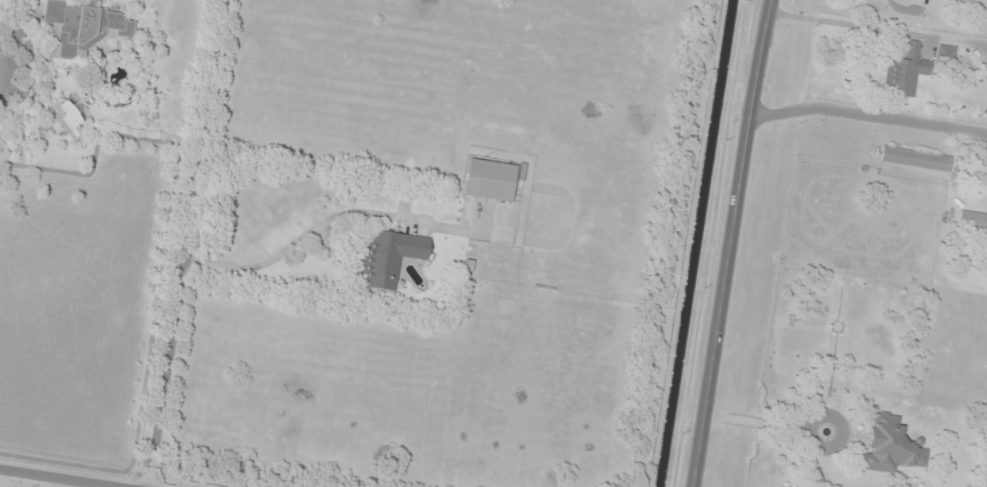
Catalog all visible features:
building: (84, 28)
building: (946, 54)
building: (906, 73)
building: (68, 118)
building: (917, 160)
building: (491, 181)
road: (731, 243)
building: (389, 258)
building: (890, 446)
road: (60, 478)

